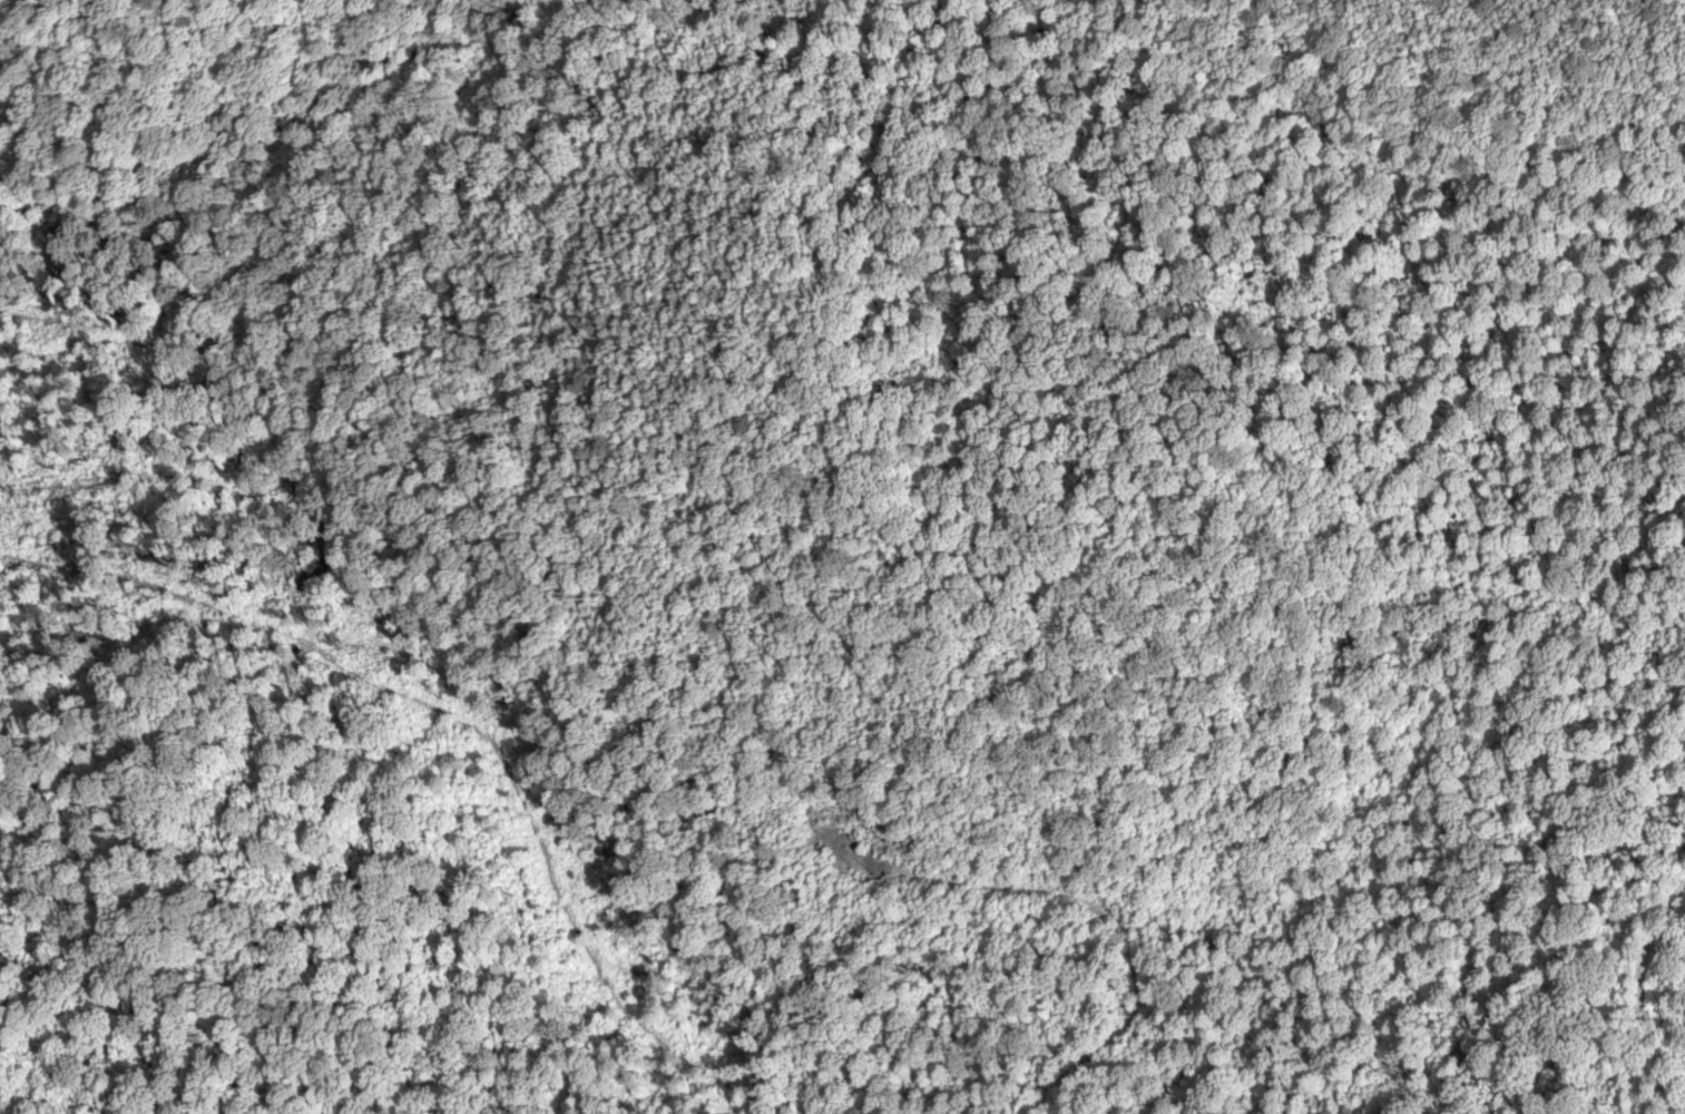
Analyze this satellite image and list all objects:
road: (352, 602)

